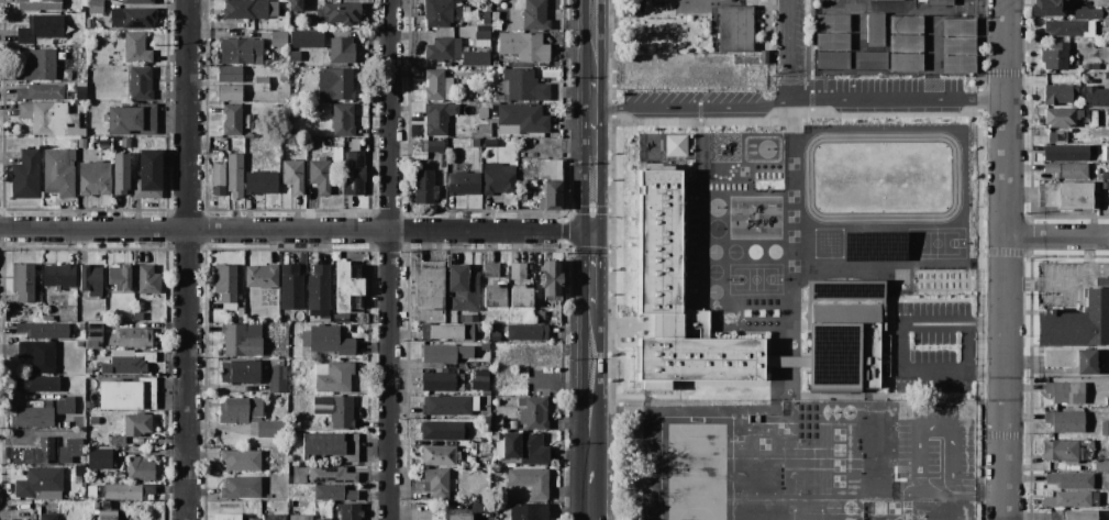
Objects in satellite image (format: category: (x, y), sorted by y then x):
building: (282, 0)
building: (137, 1)
building: (939, 2)
building: (38, 4)
building: (296, 4)
building: (95, 5)
building: (1047, 8)
building: (244, 9)
building: (337, 13)
building: (436, 13)
building: (1090, 13)
building: (532, 14)
building: (132, 16)
building: (486, 18)
building: (831, 22)
building: (496, 25)
building: (1064, 26)
building: (41, 27)
building: (735, 27)
building: (838, 32)
building: (481, 35)
building: (278, 38)
building: (307, 38)
road: (592, 40)
road: (792, 44)
building: (958, 45)
building: (523, 46)
building: (874, 47)
building: (905, 47)
building: (136, 48)
building: (443, 48)
building: (341, 49)
building: (240, 51)
building: (295, 56)
building: (1055, 56)
building: (475, 57)
building: (831, 59)
building: (495, 63)
building: (36, 66)
building: (1090, 66)
building: (230, 74)
building: (140, 82)
building: (262, 84)
building: (335, 84)
building: (436, 85)
building: (522, 86)
building: (42, 91)
building: (1095, 91)
building: (230, 92)
building: (1056, 92)
road: (792, 95)
road: (798, 99)
building: (1094, 100)
road: (592, 112)
building: (483, 113)
building: (520, 117)
building: (1061, 117)
building: (49, 118)
building: (437, 118)
building: (132, 119)
building: (231, 119)
building: (343, 120)
building: (1055, 136)
building: (1080, 139)
building: (475, 142)
building: (489, 142)
building: (832, 144)
building: (434, 145)
building: (675, 145)
building: (1066, 153)
building: (336, 154)
building: (552, 168)
building: (354, 170)
building: (1065, 170)
building: (59, 172)
building: (120, 173)
building: (25, 175)
building: (148, 175)
building: (234, 175)
building: (293, 175)
building: (320, 175)
building: (1105, 175)
building: (95, 178)
building: (219, 178)
building: (499, 178)
building: (260, 182)
building: (463, 182)
building: (1105, 184)
building: (424, 187)
road: (591, 188)
building: (552, 195)
building: (1071, 195)
building: (884, 217)
building: (842, 224)
road: (296, 230)
road: (1057, 237)
building: (874, 245)
building: (902, 253)
road: (186, 259)
road: (388, 259)
road: (1006, 259)
road: (591, 269)
building: (59, 275)
building: (262, 275)
building: (119, 277)
building: (91, 279)
building: (147, 279)
building: (553, 280)
building: (23, 281)
building: (225, 281)
building: (1101, 281)
building: (430, 285)
building: (344, 286)
building: (493, 286)
building: (291, 287)
building: (319, 287)
building: (519, 287)
building: (463, 288)
building: (919, 291)
building: (845, 297)
building: (324, 318)
building: (1075, 322)
building: (43, 330)
building: (447, 331)
building: (526, 332)
building: (93, 335)
building: (134, 336)
building: (495, 336)
building: (242, 339)
building: (918, 339)
building: (328, 340)
building: (79, 343)
building: (485, 346)
building: (445, 353)
building: (38, 355)
building: (1072, 359)
building: (129, 363)
building: (240, 372)
building: (277, 376)
building: (333, 376)
road: (956, 377)
building: (478, 379)
building: (440, 380)
road: (590, 383)
building: (36, 384)
building: (1065, 391)
building: (127, 394)
building: (448, 405)
building: (342, 412)
building: (532, 412)
building: (40, 413)
building: (249, 416)
building: (93, 420)
building: (1064, 420)
building: (694, 422)
building: (496, 423)
building: (513, 424)
building: (134, 427)
building: (1105, 428)
building: (441, 430)
road: (953, 438)
building: (878, 440)
building: (331, 445)
building: (524, 447)
building: (1064, 449)
building: (54, 452)
building: (113, 453)
building: (439, 455)
building: (241, 460)
building: (1101, 465)
building: (140, 468)
building: (331, 474)
building: (716, 475)
building: (301, 478)
building: (1069, 479)
building: (530, 480)
building: (437, 483)
building: (40, 484)
building: (241, 487)
road: (590, 488)
building: (126, 490)
road: (923, 491)
building: (334, 493)
building: (1072, 498)
building: (947, 510)
building: (348, 511)
building: (528, 511)
building: (106, 515)
building: (1072, 515)
building: (48, 516)
building: (226, 517)
building: (274, 517)
building: (300, 517)
building: (458, 517)
building: (251, 518)
building: (323, 519)

